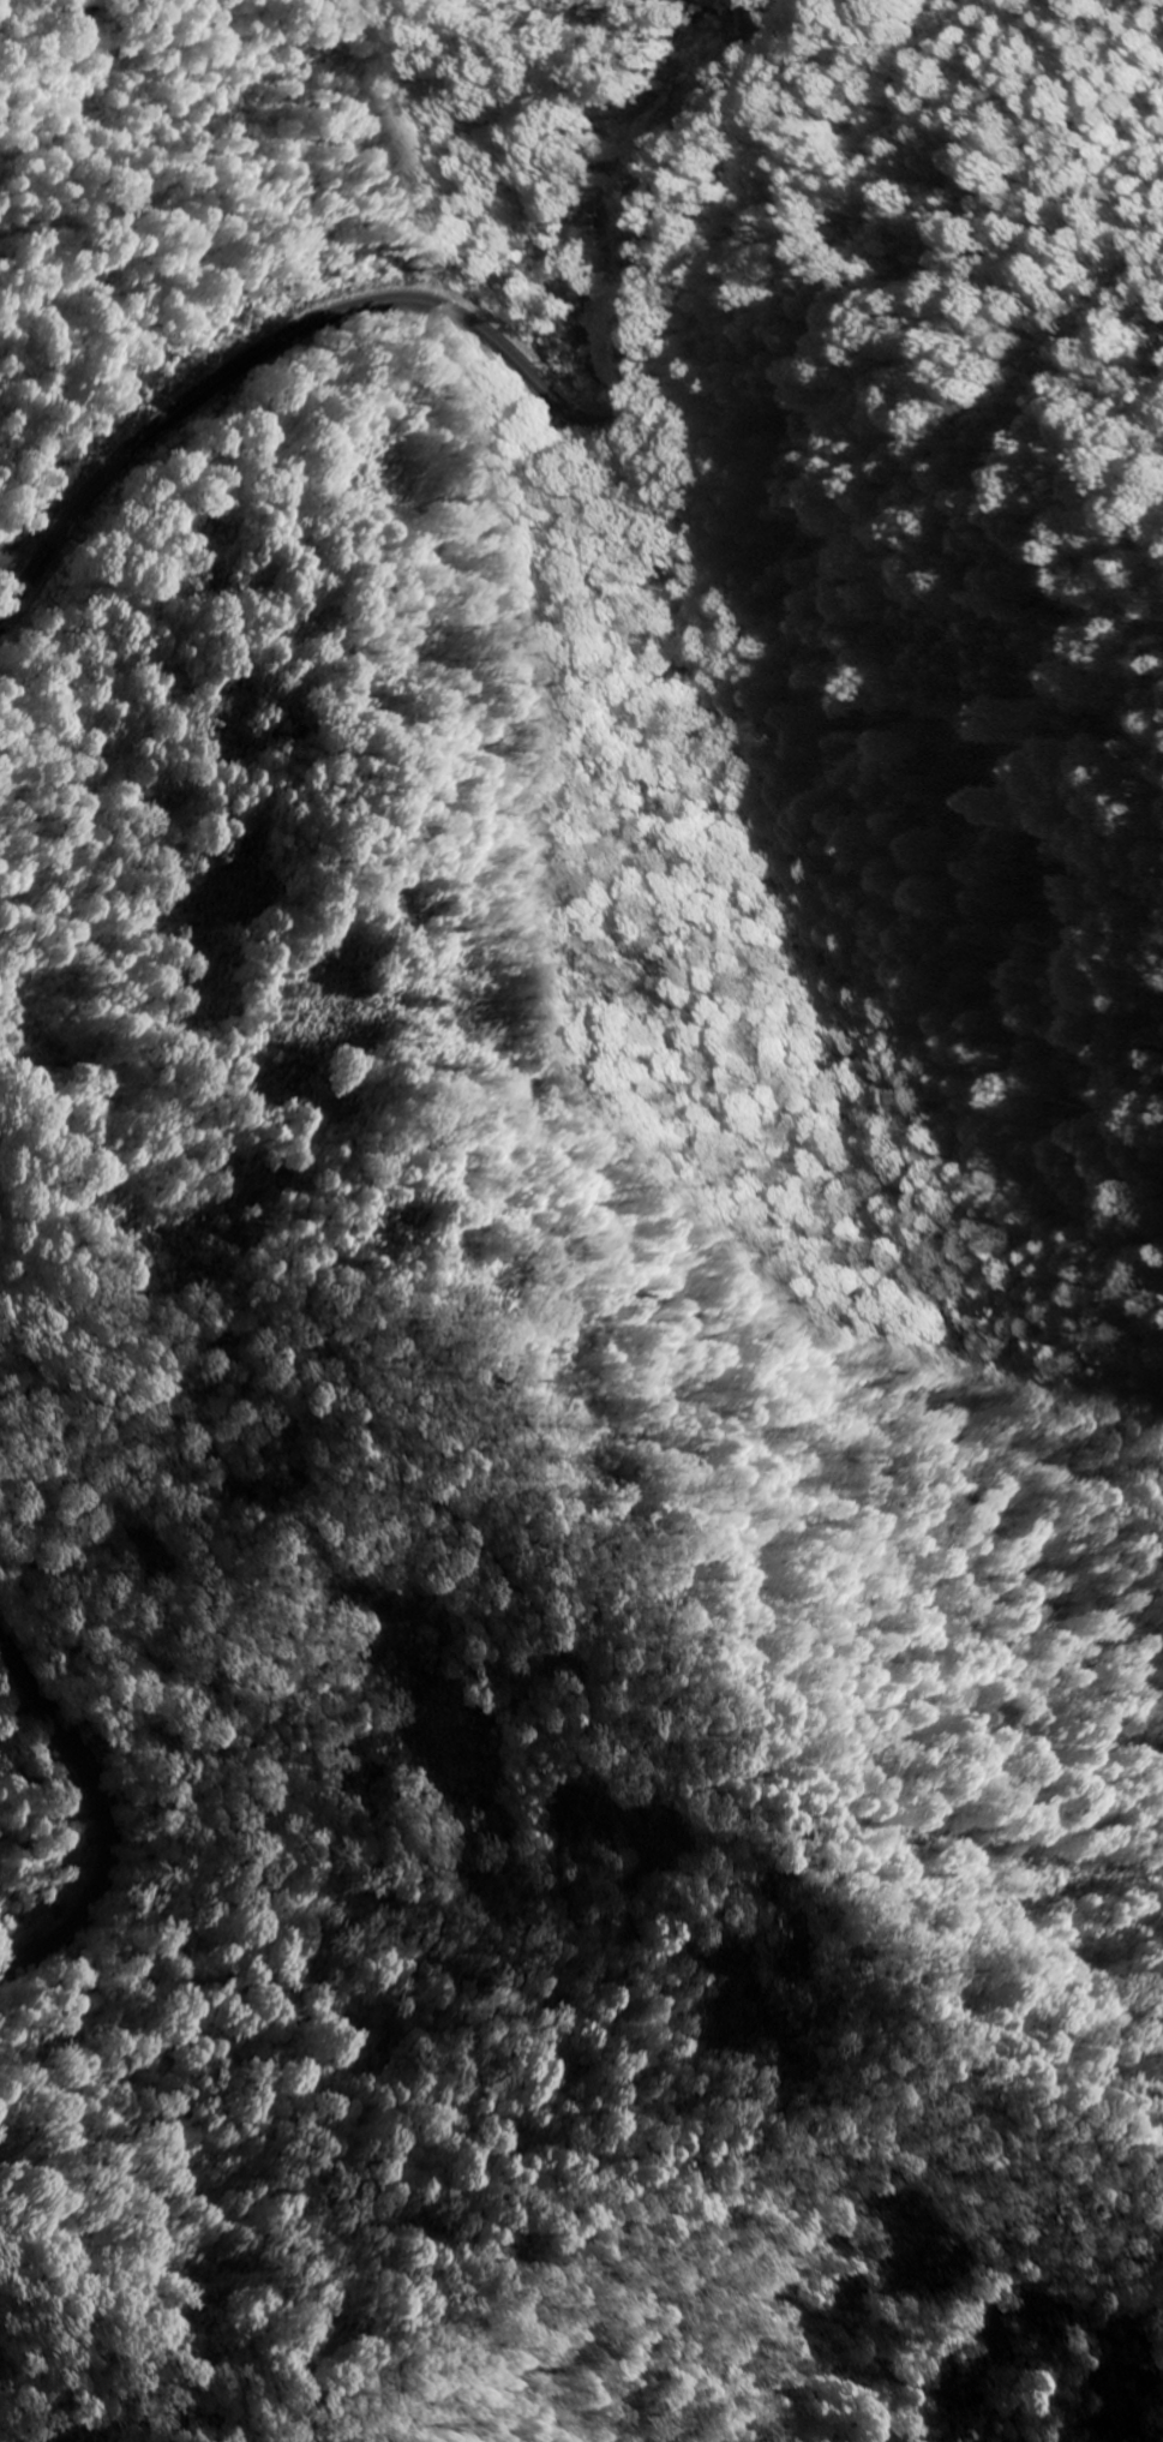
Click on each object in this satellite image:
road: (738, 80)
road: (407, 305)
road: (113, 1838)

